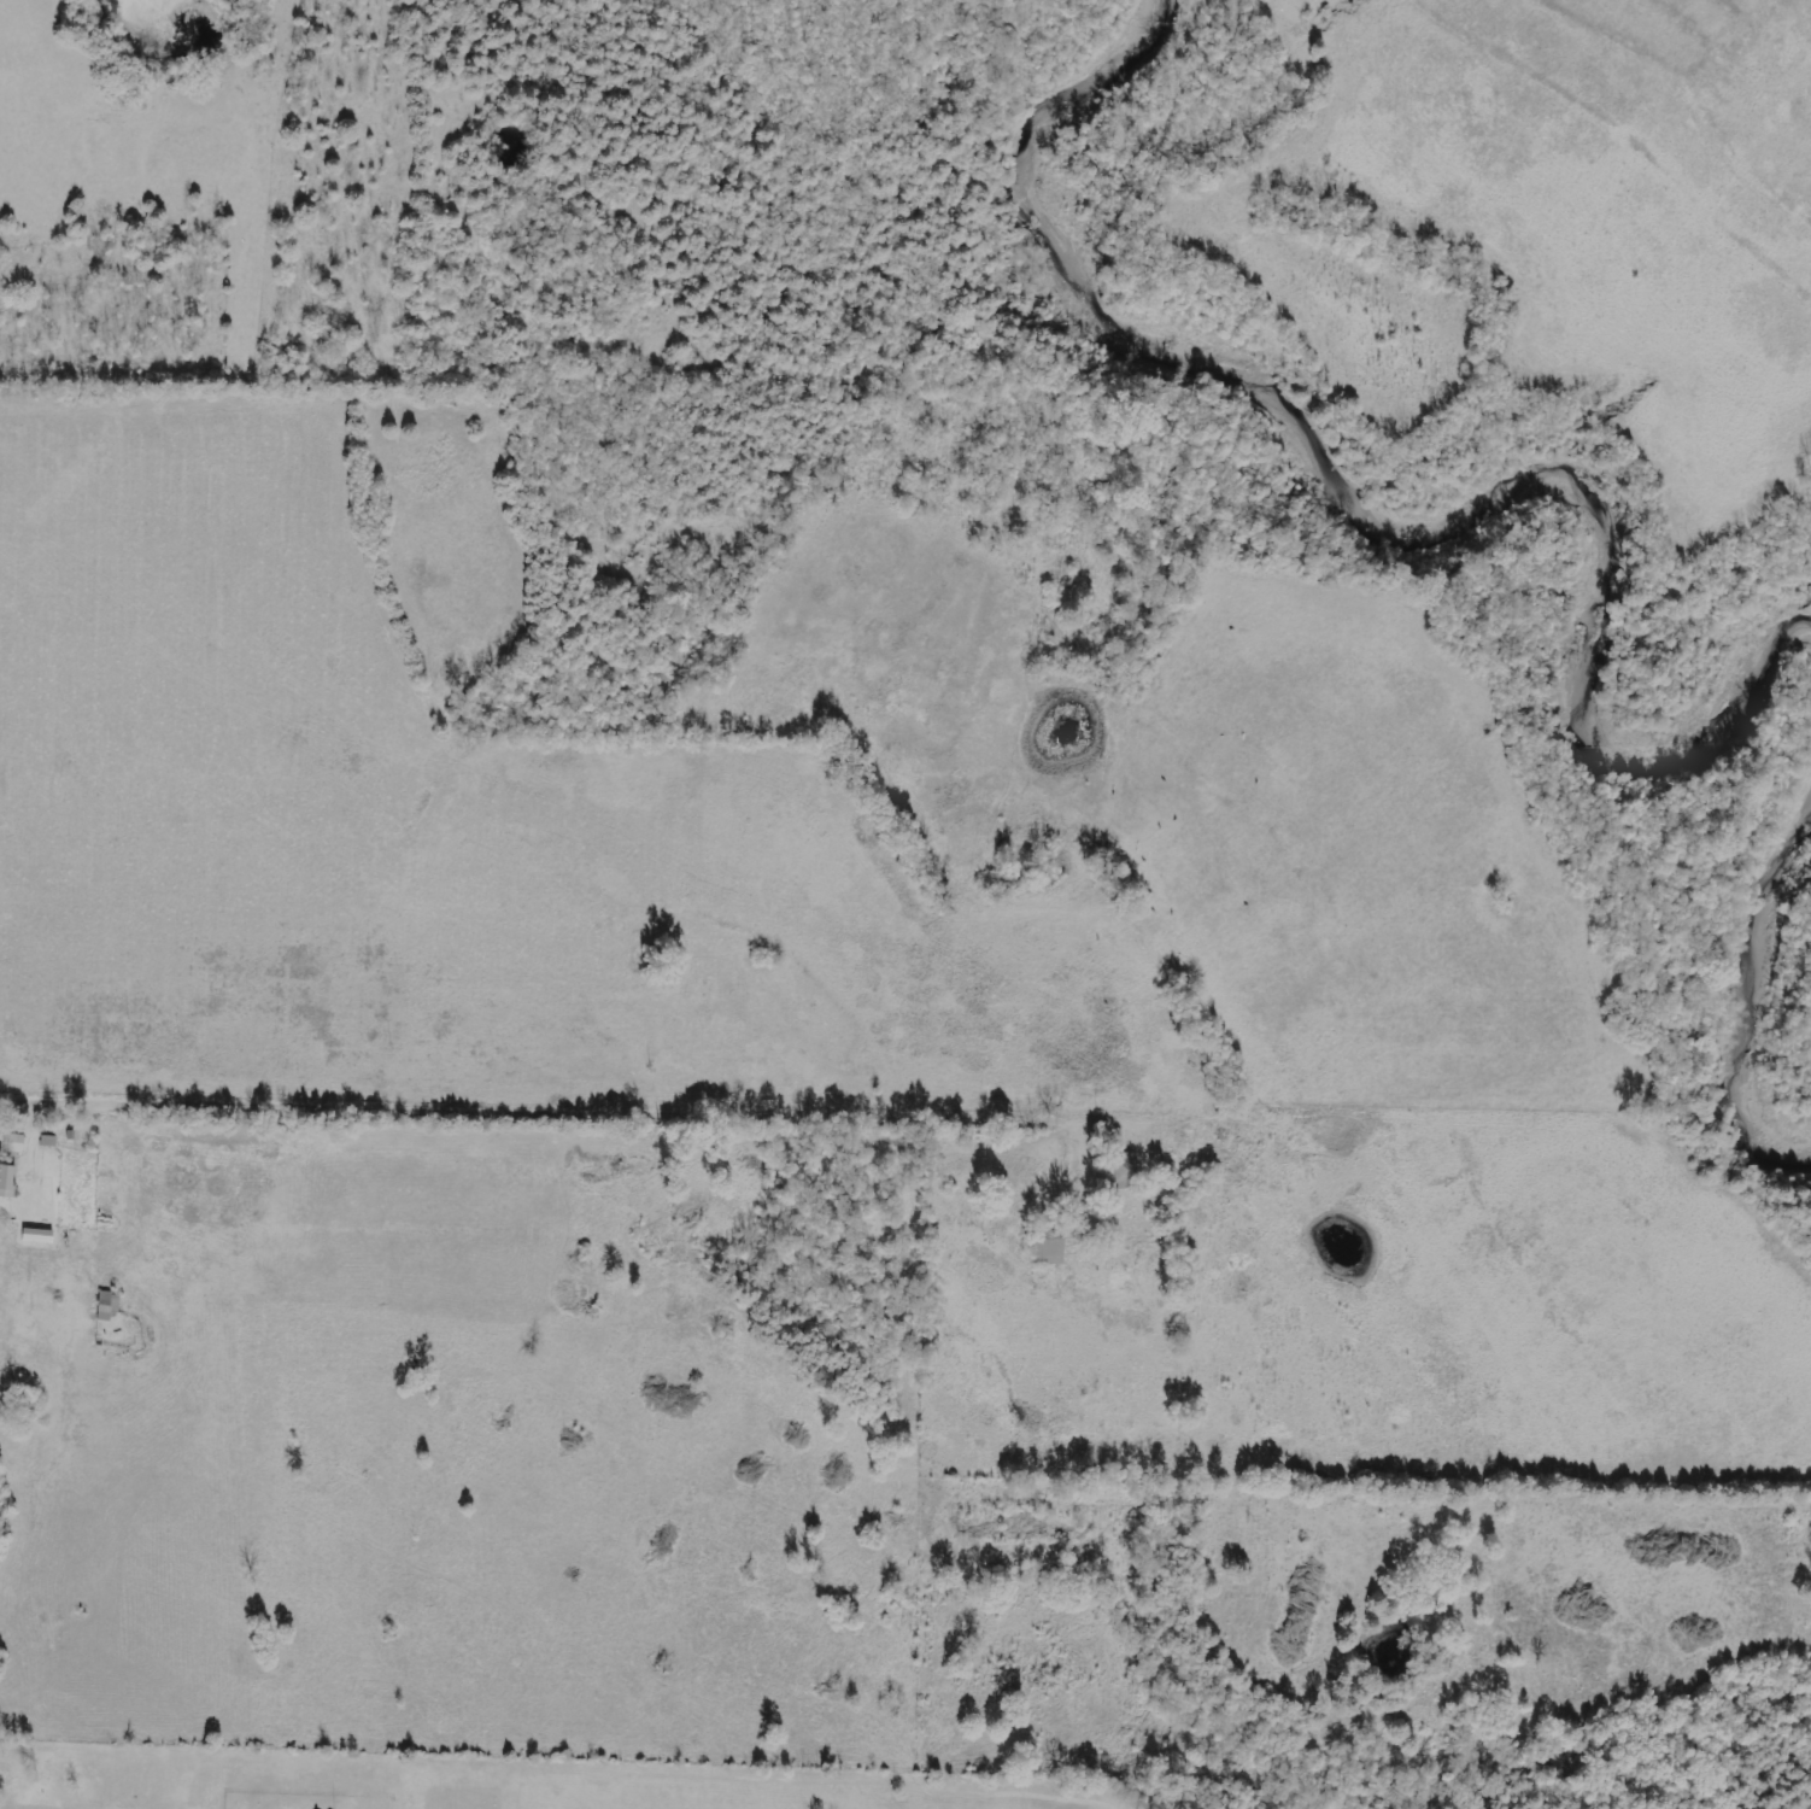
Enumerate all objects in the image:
road: (555, 1113)
building: (12, 1142)
building: (1126, 1169)
building: (7, 1181)
building: (37, 1235)
building: (1048, 1252)
building: (109, 1305)
road: (370, 1734)

